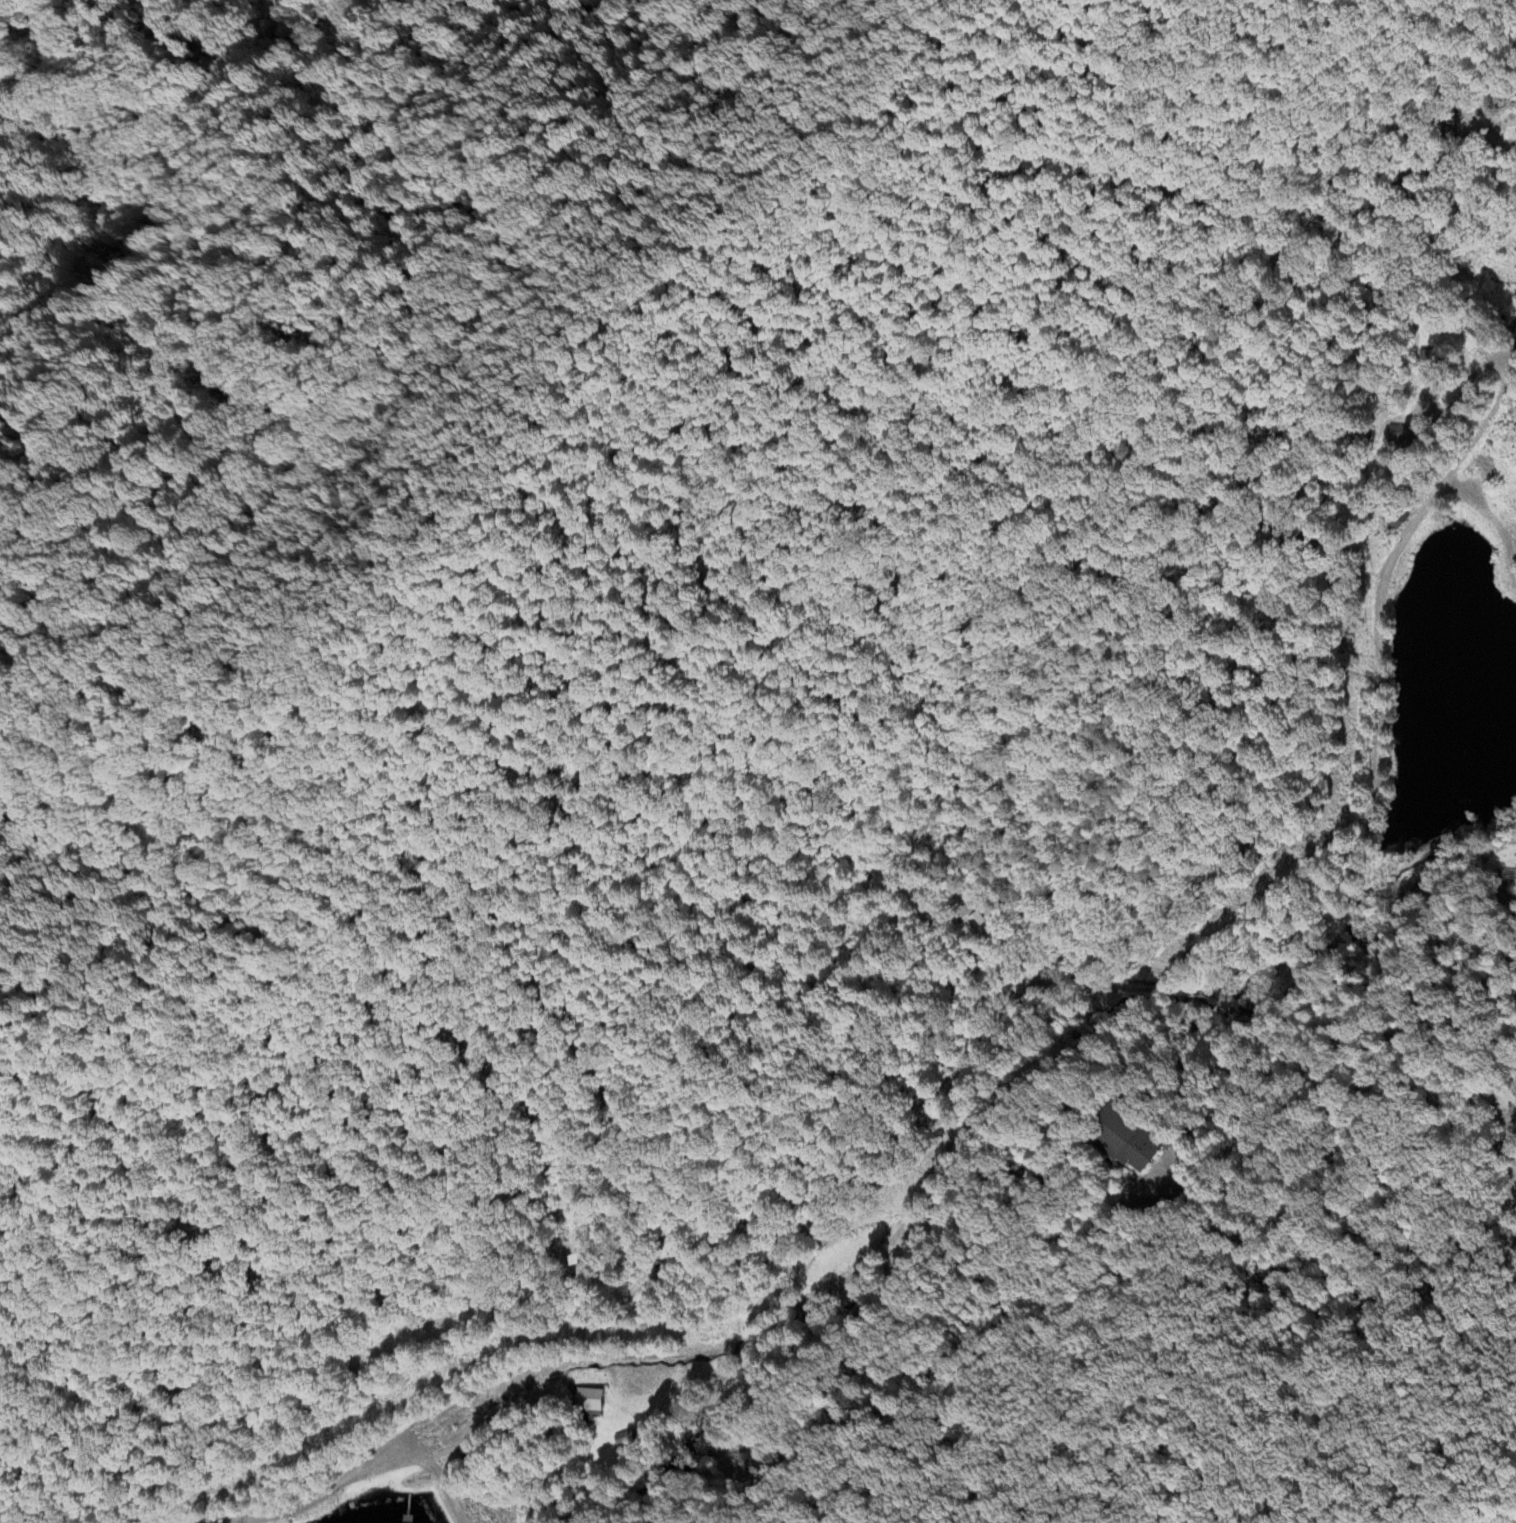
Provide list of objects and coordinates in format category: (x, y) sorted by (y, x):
building: (1401, 434)
road: (1489, 504)
dam: (1460, 523)
dam: (1486, 537)
building: (1496, 888)
road: (1373, 918)
building: (980, 923)
road: (978, 1030)
building: (1125, 1141)
road: (1345, 1232)
road: (575, 1319)
road: (982, 1339)
building: (591, 1401)
road: (444, 1483)
road: (762, 1483)
road: (724, 1512)

